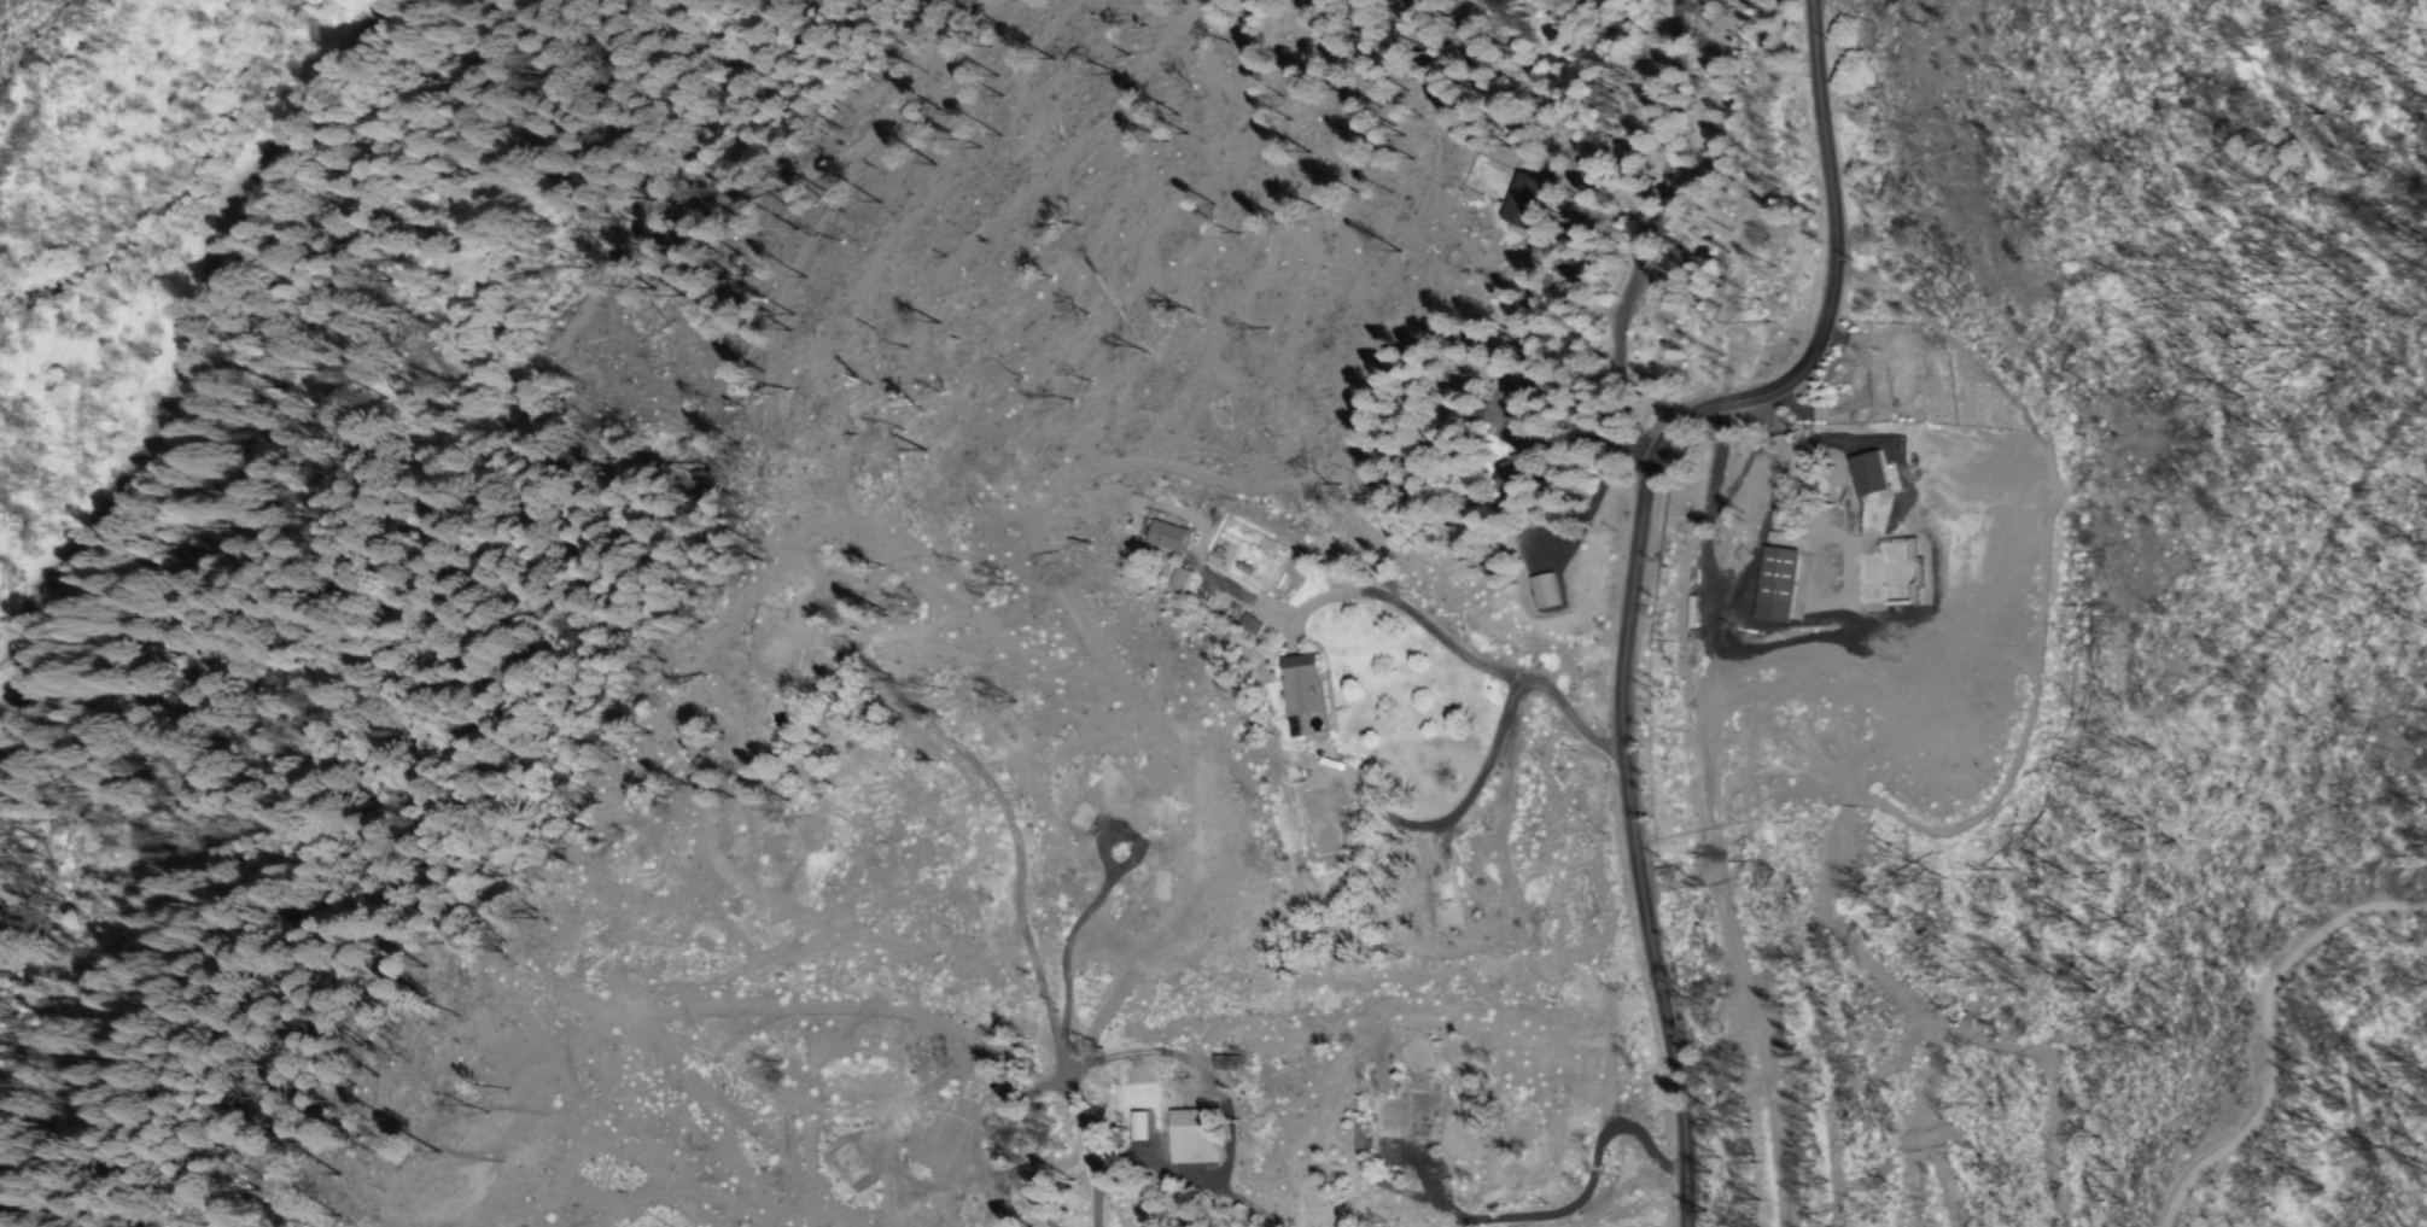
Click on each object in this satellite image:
road: (1667, 140)
road: (1746, 304)
road: (1635, 566)
building: (1783, 586)
building: (1306, 693)
road: (1757, 986)
road: (2265, 1036)

